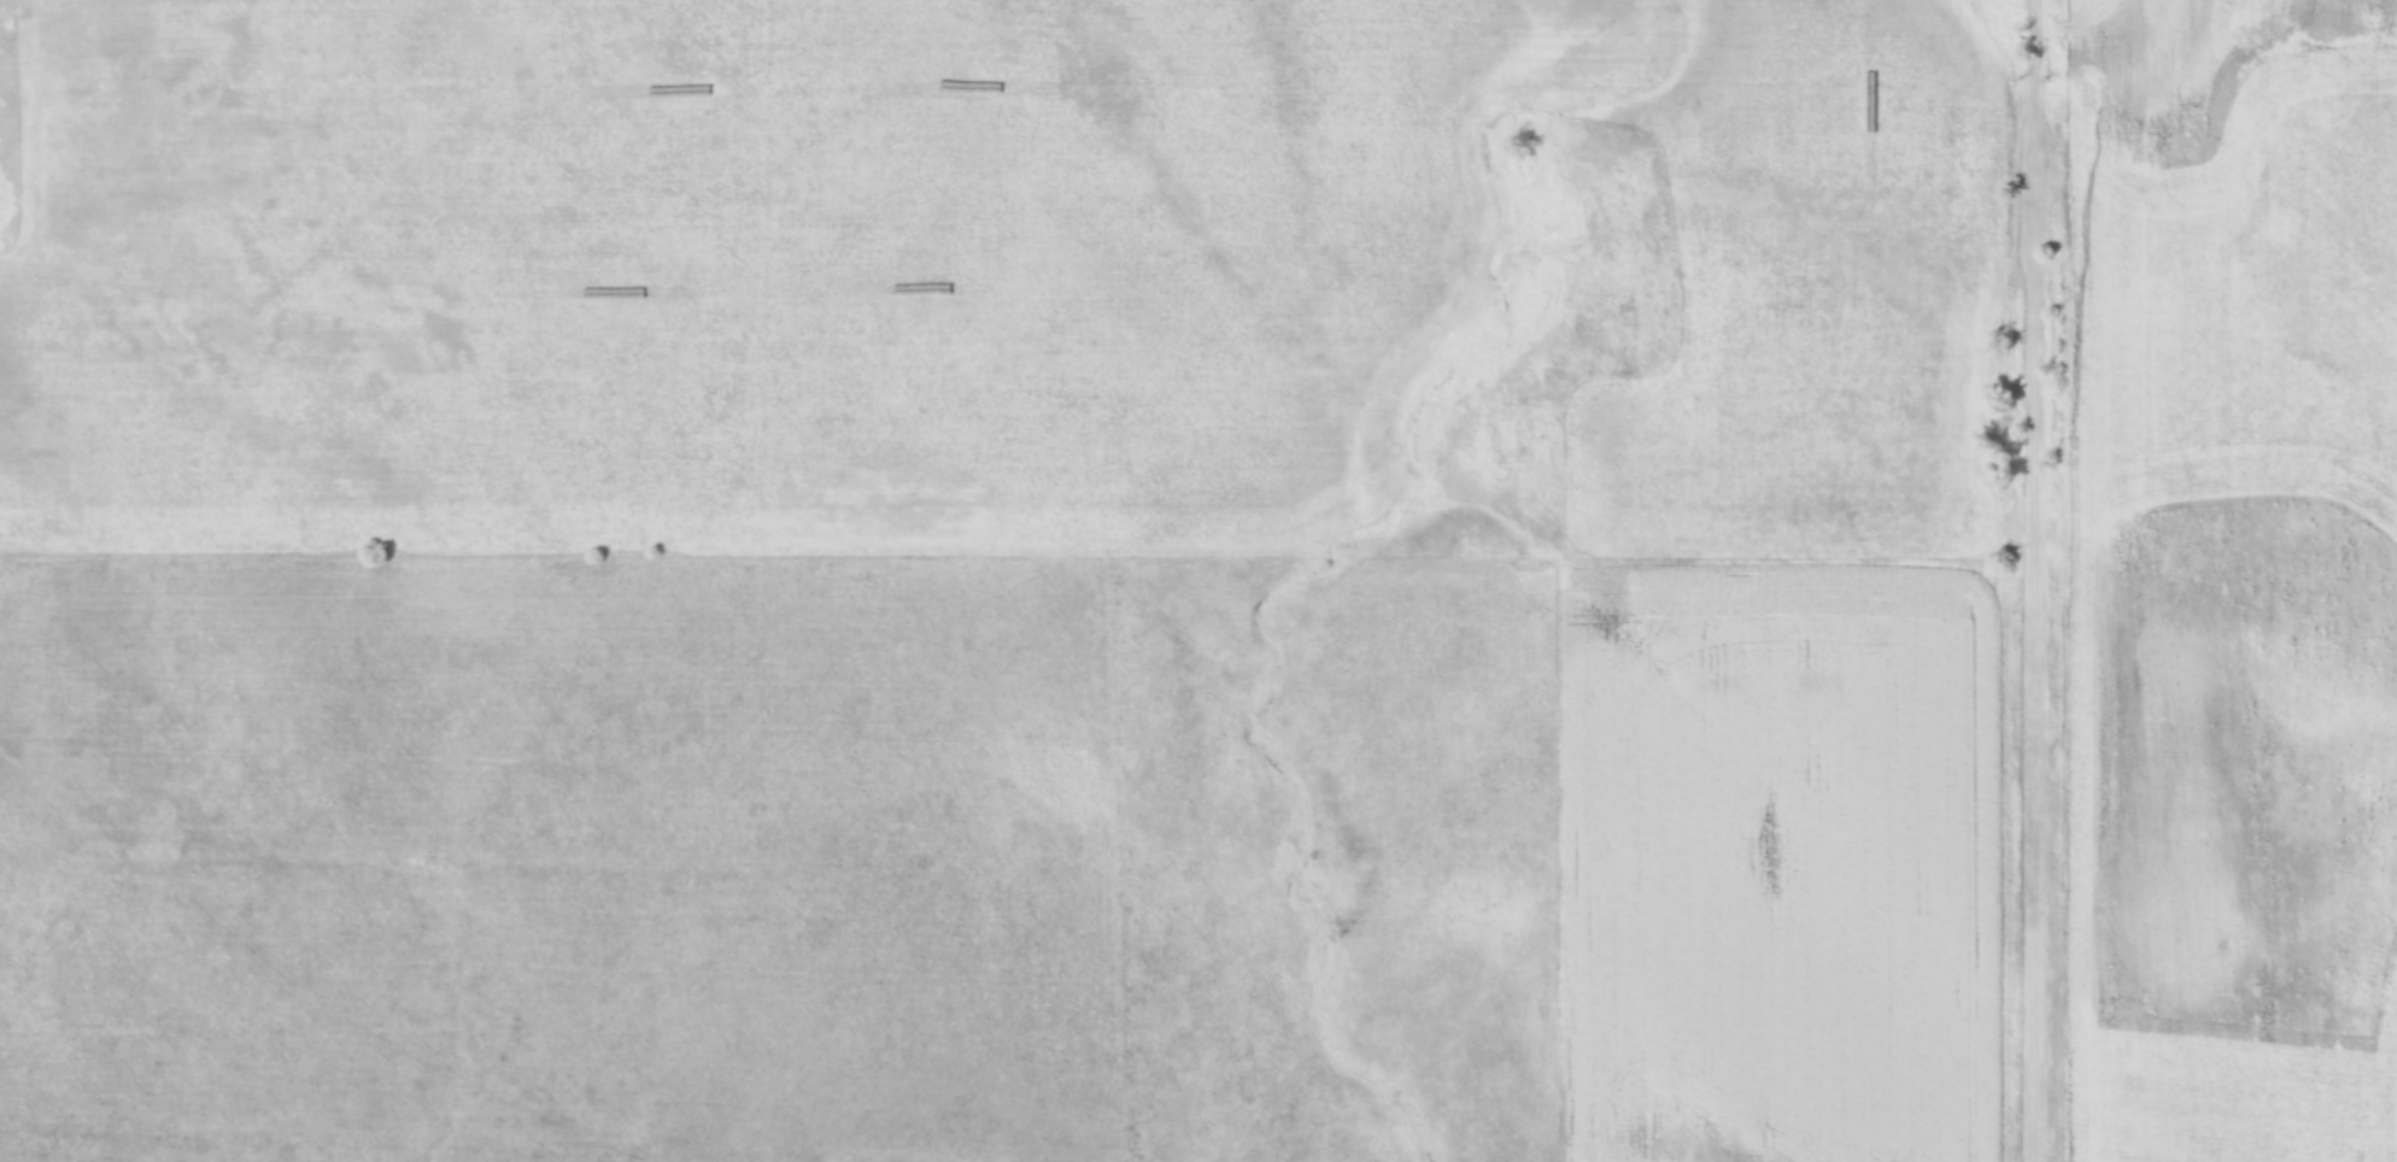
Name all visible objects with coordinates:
road: (2033, 581)

